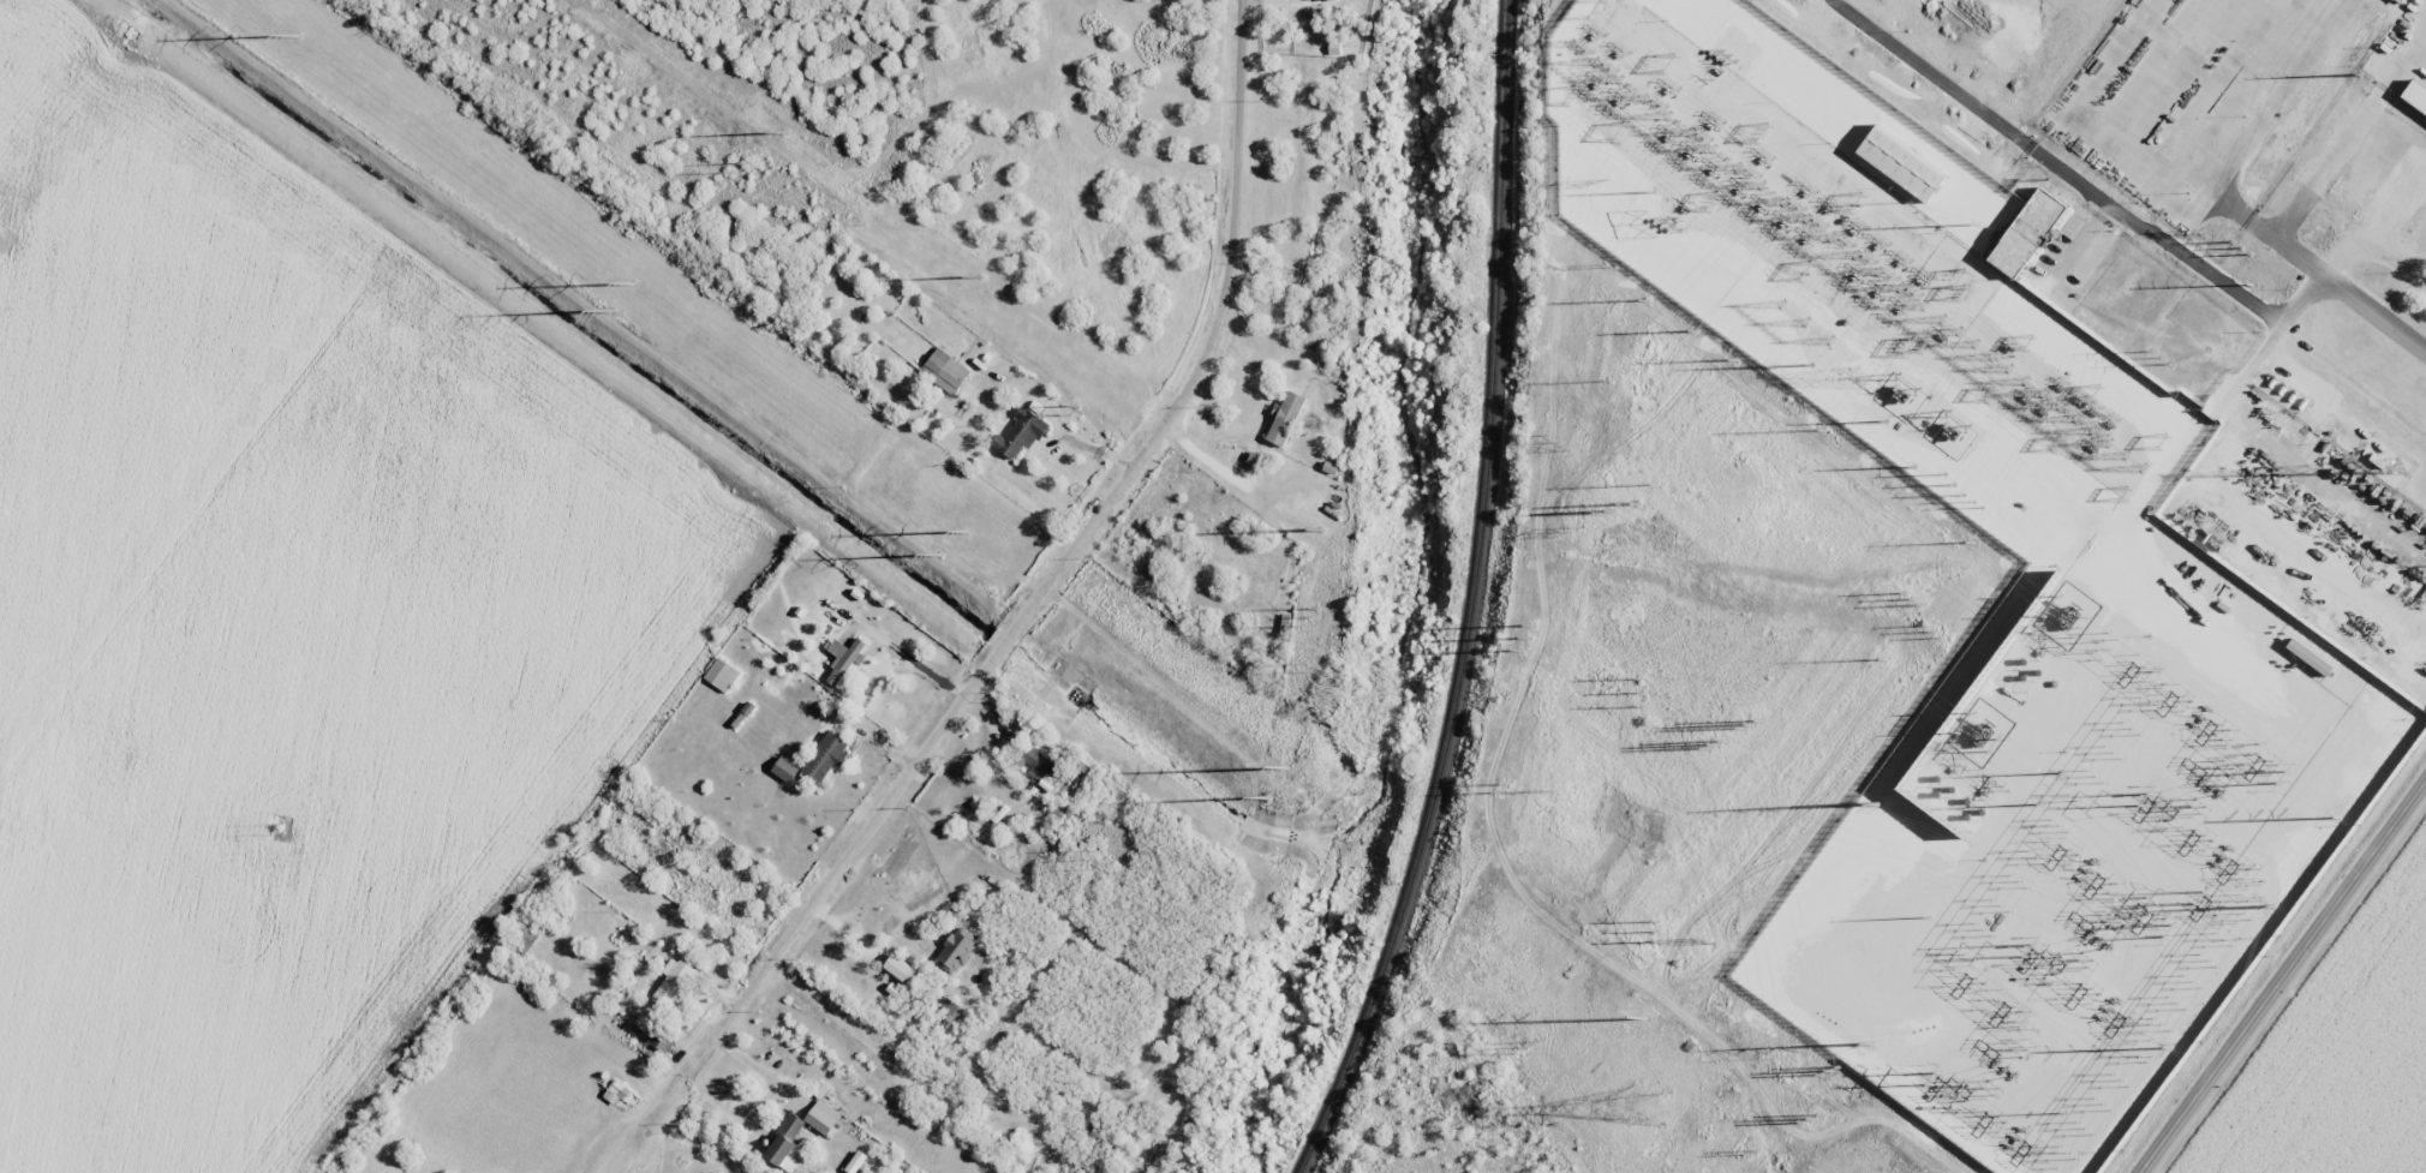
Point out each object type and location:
building: (1322, 0)
power tower: (297, 36)
power tower: (2361, 73)
power tower: (785, 131)
building: (1901, 163)
power tower: (742, 166)
power tower: (1596, 181)
power tower: (1655, 192)
power tower: (1654, 223)
power tower: (1982, 223)
building: (2026, 233)
power tower: (2205, 233)
power tower: (2242, 249)
power tower: (1609, 264)
power tower: (980, 277)
power tower: (632, 285)
power tower: (2252, 285)
power tower: (1648, 300)
power tower: (614, 312)
power tower: (1693, 330)
power tower: (2161, 358)
power tower: (1738, 360)
power tower: (1813, 365)
power tower: (1774, 366)
building: (945, 370)
power tower: (1612, 376)
road: (1094, 377)
power tower: (1075, 411)
building: (1285, 418)
power tower: (1887, 420)
power tower: (1828, 429)
building: (1021, 432)
power tower: (1561, 441)
building: (1255, 459)
power tower: (1916, 467)
power tower: (1950, 478)
power tower: (1661, 484)
power tower: (1630, 502)
power tower: (1978, 503)
power tower: (1607, 511)
power tower: (1323, 529)
power tower: (969, 532)
power tower: (1568, 533)
power tower: (1973, 541)
road: (1065, 556)
power tower: (939, 558)
railway: (1472, 599)
power tower: (1913, 599)
power tower: (1310, 617)
power substation: (1986, 629)
power tower: (1934, 630)
crop: (287, 632)
power tower: (1530, 639)
building: (844, 658)
power tower: (1888, 659)
power tower: (1311, 666)
building: (722, 675)
power tower: (1642, 694)
power tower: (1750, 726)
power tower: (1711, 748)
building: (825, 758)
building: (1033, 760)
building: (785, 768)
power tower: (1287, 768)
power tower: (2281, 772)
power tower: (1886, 780)
power tower: (1504, 789)
power tower: (1543, 790)
power tower: (1267, 798)
power tower: (2145, 802)
power tower: (2336, 816)
power tower: (281, 827)
power tower: (713, 842)
power tower: (1100, 860)
power tower: (2204, 898)
power tower: (2276, 905)
power tower: (2168, 922)
power tower: (1659, 930)
power tower: (1707, 940)
power tower: (2031, 952)
building: (900, 968)
road: (2283, 977)
building: (676, 983)
power tower: (1644, 1018)
power tower: (1872, 1042)
power tower: (1523, 1043)
power tower: (2173, 1048)
crop: (2342, 1055)
power tower: (1829, 1072)
power tower: (1936, 1083)
building: (616, 1093)
power tower: (1642, 1106)
building: (824, 1117)
power tower: (1811, 1118)
building: (787, 1145)
power tower: (1751, 1153)
building: (855, 1161)

